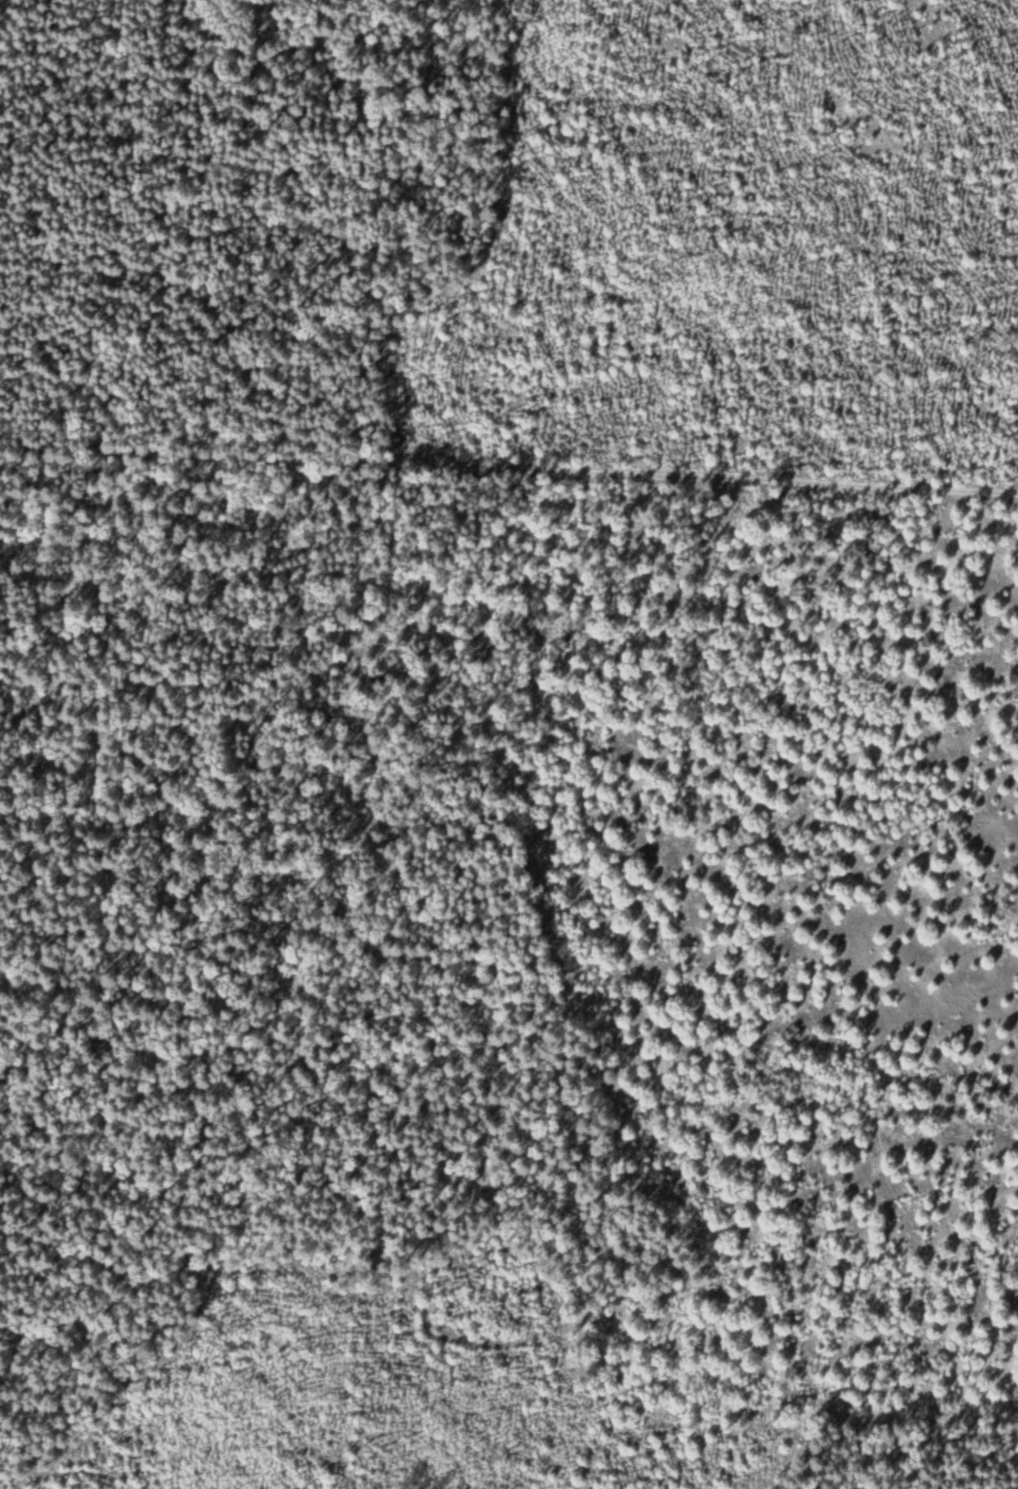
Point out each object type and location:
road: (509, 474)
road: (71, 1469)

